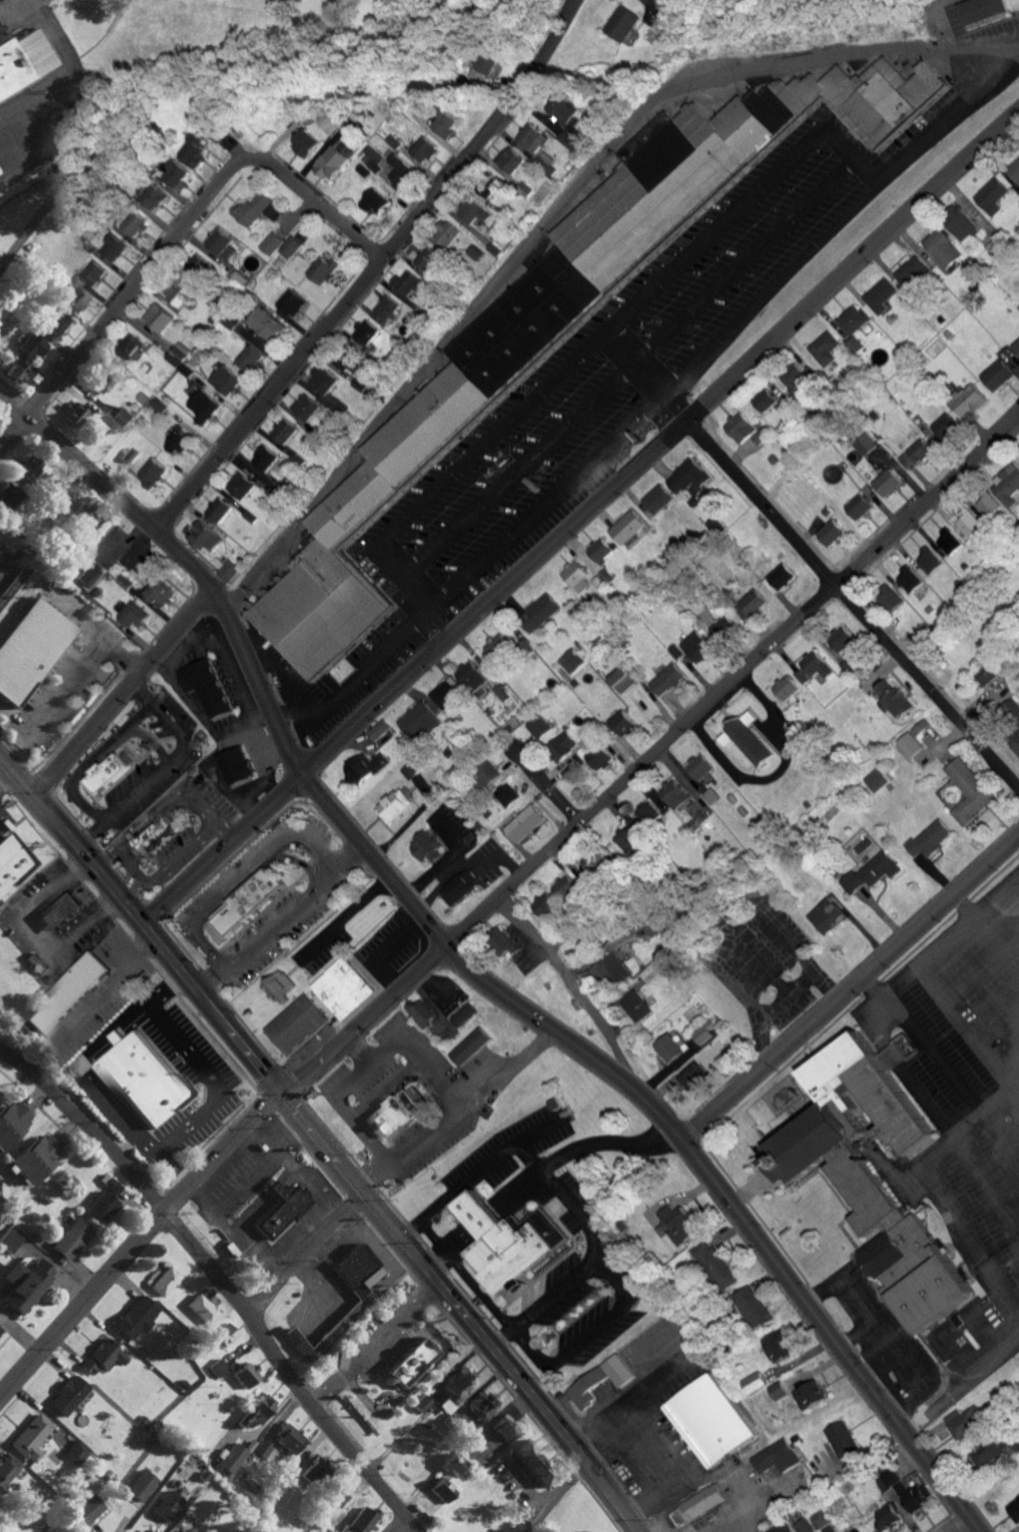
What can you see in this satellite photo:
building: (2, 1)
road: (571, 4)
building: (982, 9)
building: (625, 24)
building: (24, 62)
building: (487, 66)
building: (555, 102)
building: (568, 110)
building: (445, 120)
building: (534, 137)
building: (571, 139)
building: (306, 142)
building: (425, 149)
building: (196, 150)
building: (513, 159)
building: (334, 160)
building: (388, 164)
building: (1015, 170)
building: (178, 173)
building: (493, 187)
building: (154, 195)
building: (995, 196)
building: (376, 201)
road: (314, 206)
building: (252, 209)
building: (274, 210)
building: (475, 211)
building: (962, 223)
building: (138, 225)
building: (446, 236)
building: (271, 243)
building: (223, 244)
building: (116, 247)
building: (289, 247)
building: (945, 248)
building: (1004, 249)
building: (476, 252)
building: (428, 259)
building: (199, 266)
building: (321, 269)
building: (915, 271)
road: (373, 272)
building: (95, 273)
building: (407, 283)
building: (179, 292)
road: (654, 294)
building: (74, 296)
building: (881, 296)
road: (119, 299)
building: (291, 302)
building: (388, 308)
building: (159, 317)
building: (266, 324)
building: (555, 325)
building: (365, 332)
building: (30, 346)
building: (130, 346)
building: (1017, 346)
building: (827, 350)
building: (177, 353)
building: (249, 358)
building: (349, 363)
building: (11, 368)
road: (636, 372)
building: (1000, 375)
building: (225, 380)
building: (321, 380)
building: (799, 380)
building: (106, 382)
road: (665, 395)
building: (970, 400)
building: (766, 404)
building: (156, 406)
building: (203, 406)
building: (305, 407)
building: (74, 412)
building: (122, 417)
building: (946, 424)
building: (741, 429)
building: (282, 431)
building: (178, 441)
building: (916, 454)
building: (267, 462)
building: (686, 476)
building: (886, 480)
building: (18, 483)
building: (1008, 484)
building: (239, 485)
building: (704, 489)
building: (657, 499)
building: (989, 502)
building: (859, 506)
building: (216, 509)
building: (77, 511)
road: (580, 519)
building: (970, 522)
building: (626, 527)
building: (829, 532)
building: (203, 536)
building: (950, 543)
building: (599, 551)
building: (929, 560)
building: (227, 570)
building: (1, 575)
building: (89, 576)
building: (909, 580)
building: (124, 582)
building: (580, 582)
building: (159, 593)
building: (891, 599)
building: (750, 604)
road: (850, 611)
building: (539, 612)
building: (130, 613)
building: (724, 626)
building: (842, 639)
building: (498, 646)
building: (697, 647)
building: (29, 649)
building: (571, 661)
road: (79, 667)
building: (814, 668)
building: (987, 673)
building: (470, 676)
building: (667, 679)
building: (623, 680)
building: (204, 687)
building: (789, 691)
building: (447, 692)
building: (501, 693)
road: (123, 697)
building: (894, 697)
road: (334, 703)
building: (1012, 711)
building: (420, 720)
building: (622, 723)
building: (538, 726)
building: (919, 727)
building: (379, 730)
building: (747, 739)
building: (911, 745)
building: (1016, 746)
building: (562, 748)
building: (600, 759)
road: (649, 760)
road: (0, 762)
building: (234, 766)
building: (364, 767)
building: (699, 767)
building: (489, 772)
building: (104, 773)
road: (6, 779)
building: (877, 780)
road: (542, 786)
building: (969, 791)
building: (508, 794)
building: (674, 795)
road: (190, 797)
building: (394, 806)
building: (647, 815)
building: (525, 824)
road: (222, 830)
building: (144, 837)
building: (630, 838)
building: (929, 839)
building: (426, 847)
building: (592, 863)
building: (13, 867)
building: (871, 873)
road: (127, 887)
building: (564, 887)
building: (460, 888)
building: (245, 901)
building: (543, 906)
road: (963, 906)
building: (60, 912)
building: (825, 916)
road: (343, 917)
road: (280, 919)
road: (33, 937)
building: (501, 944)
road: (938, 944)
building: (609, 970)
road: (479, 974)
building: (279, 986)
road: (851, 986)
road: (166, 988)
building: (343, 989)
road: (568, 990)
building: (65, 995)
building: (634, 1006)
building: (420, 1012)
building: (463, 1014)
building: (295, 1024)
building: (701, 1035)
building: (469, 1047)
building: (668, 1048)
road: (506, 1069)
building: (694, 1077)
road: (88, 1078)
building: (142, 1079)
road: (211, 1080)
road: (339, 1087)
road: (450, 1097)
road: (363, 1106)
building: (391, 1114)
building: (13, 1122)
road: (957, 1135)
road: (321, 1143)
road: (610, 1144)
building: (37, 1158)
road: (533, 1159)
building: (866, 1165)
road: (299, 1172)
road: (173, 1173)
road: (464, 1185)
building: (105, 1201)
building: (282, 1209)
road: (575, 1211)
building: (677, 1224)
road: (410, 1231)
building: (71, 1238)
building: (12, 1240)
building: (507, 1241)
road: (138, 1245)
road: (305, 1257)
road: (433, 1259)
building: (716, 1263)
building: (166, 1280)
road: (220, 1281)
building: (23, 1286)
road: (555, 1293)
road: (482, 1298)
building: (753, 1306)
building: (203, 1309)
building: (353, 1312)
building: (137, 1317)
road: (592, 1331)
building: (0, 1333)
building: (224, 1335)
road: (496, 1335)
road: (374, 1344)
building: (779, 1344)
building: (104, 1355)
building: (411, 1361)
building: (220, 1367)
building: (618, 1369)
building: (247, 1374)
road: (656, 1381)
building: (755, 1381)
road: (965, 1384)
building: (586, 1386)
building: (457, 1388)
building: (779, 1390)
building: (811, 1393)
building: (69, 1395)
building: (486, 1403)
building: (258, 1410)
building: (710, 1419)
building: (964, 1420)
building: (505, 1428)
road: (643, 1435)
building: (32, 1437)
building: (842, 1438)
building: (290, 1439)
building: (1014, 1442)
building: (264, 1449)
building: (987, 1451)
building: (78, 1452)
building: (776, 1456)
building: (232, 1458)
building: (535, 1462)
building: (454, 1463)
building: (8, 1469)
building: (316, 1471)
building: (888, 1479)
building: (143, 1484)
building: (444, 1489)
building: (337, 1493)
building: (913, 1495)
road: (556, 1496)
building: (699, 1503)
building: (170, 1505)
building: (89, 1509)
building: (887, 1515)
building: (1017, 1515)
building: (818, 1518)
building: (361, 1520)
road: (949, 1521)
road: (398, 1524)
building: (804, 1525)
road: (62, 1530)
building: (855, 1530)
building: (186, 1531)

